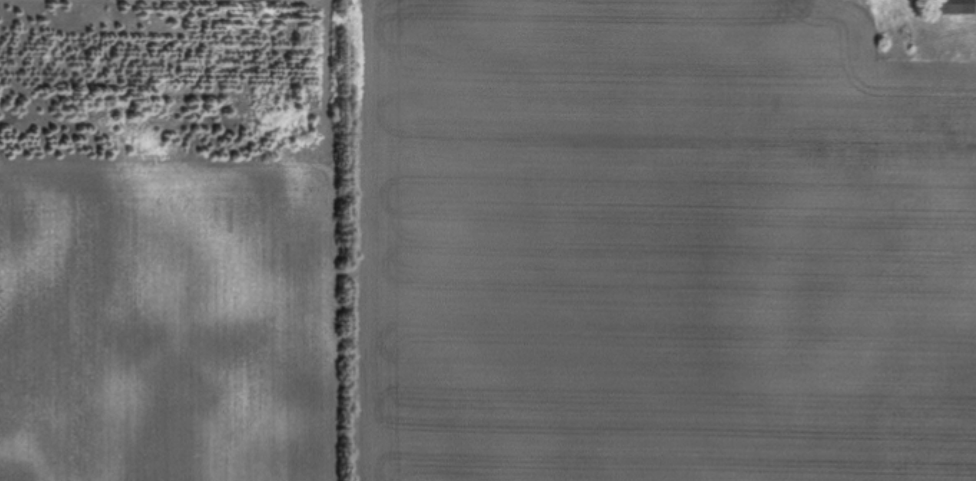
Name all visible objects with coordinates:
building: (954, 8)
road: (968, 29)

